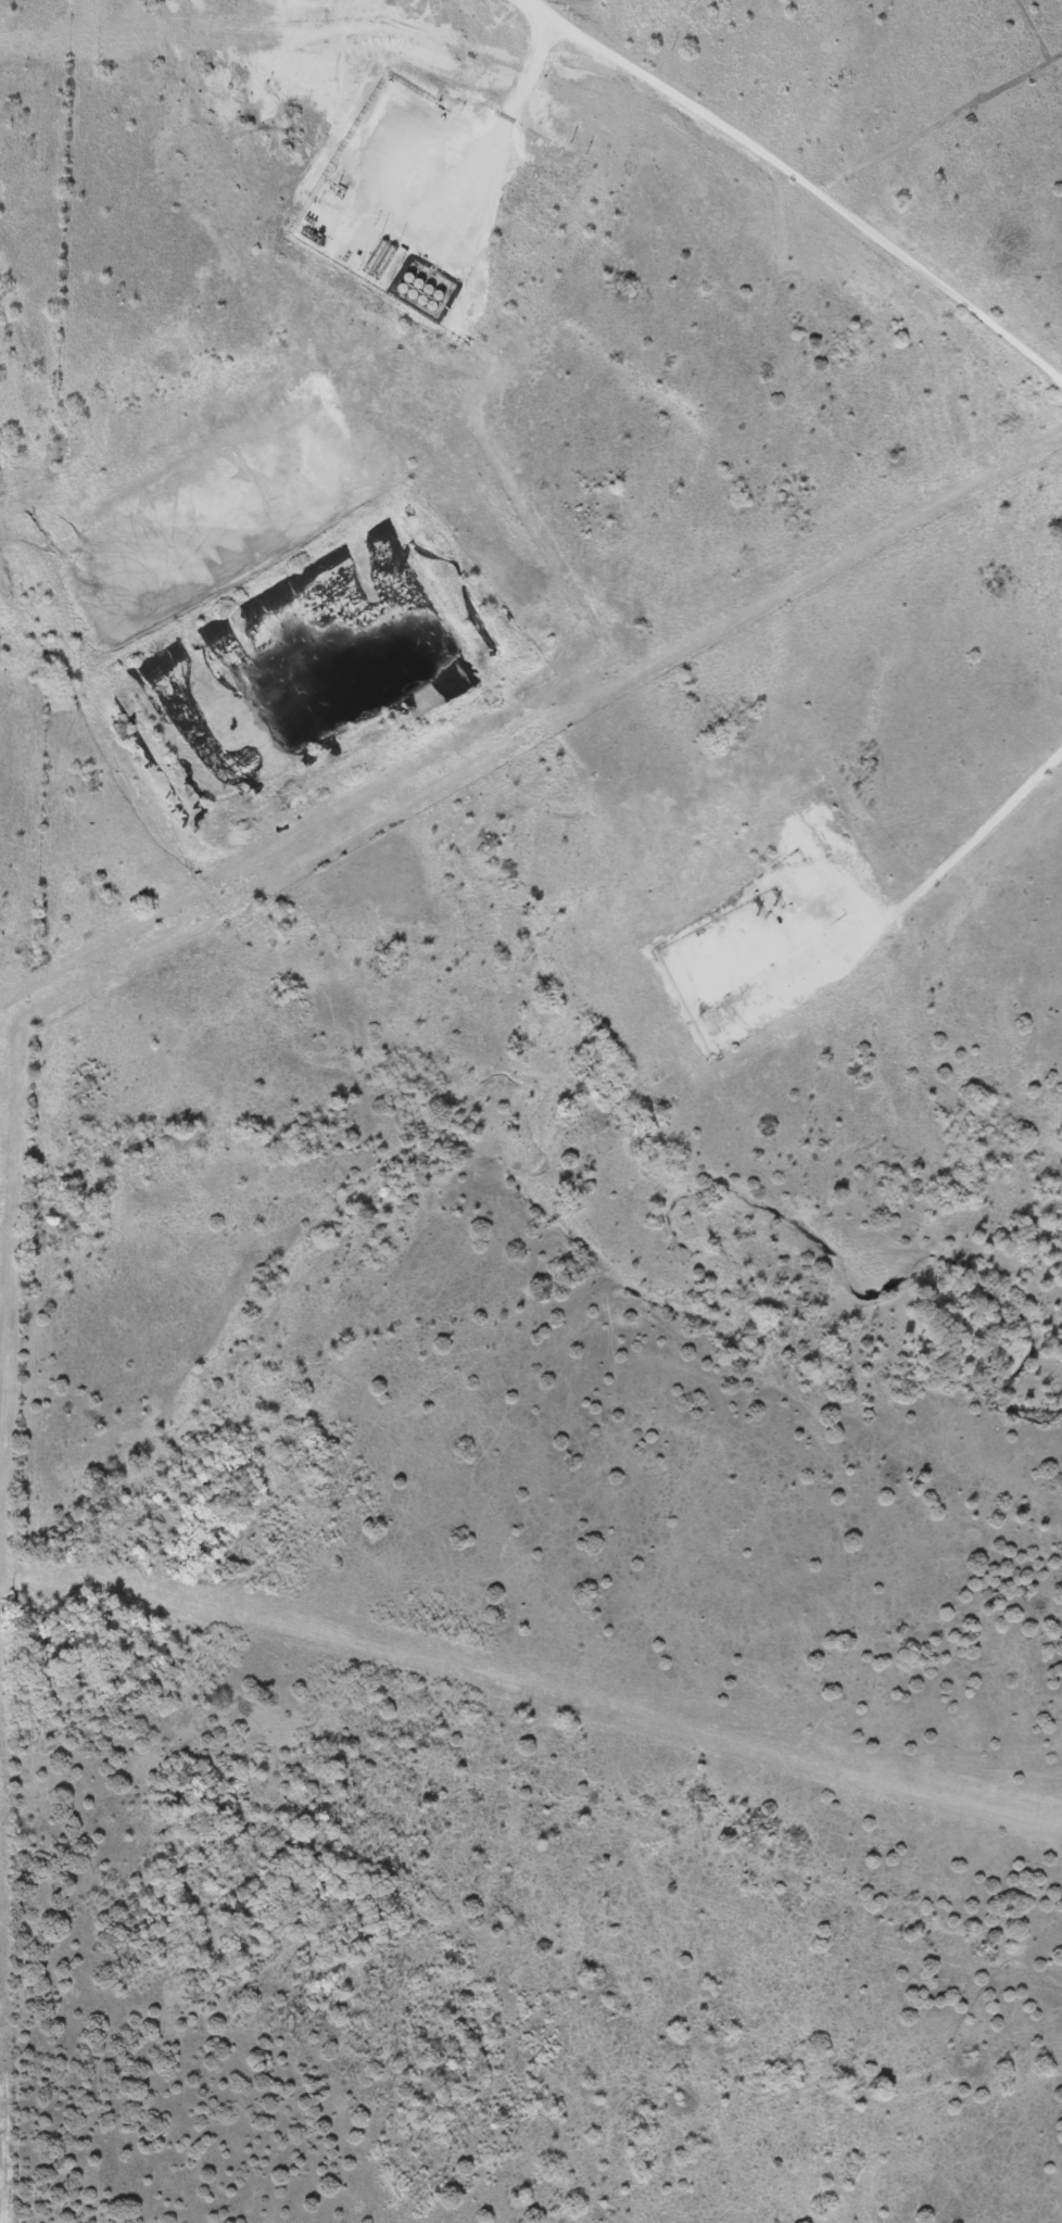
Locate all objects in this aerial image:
road: (504, 121)
road: (802, 176)

